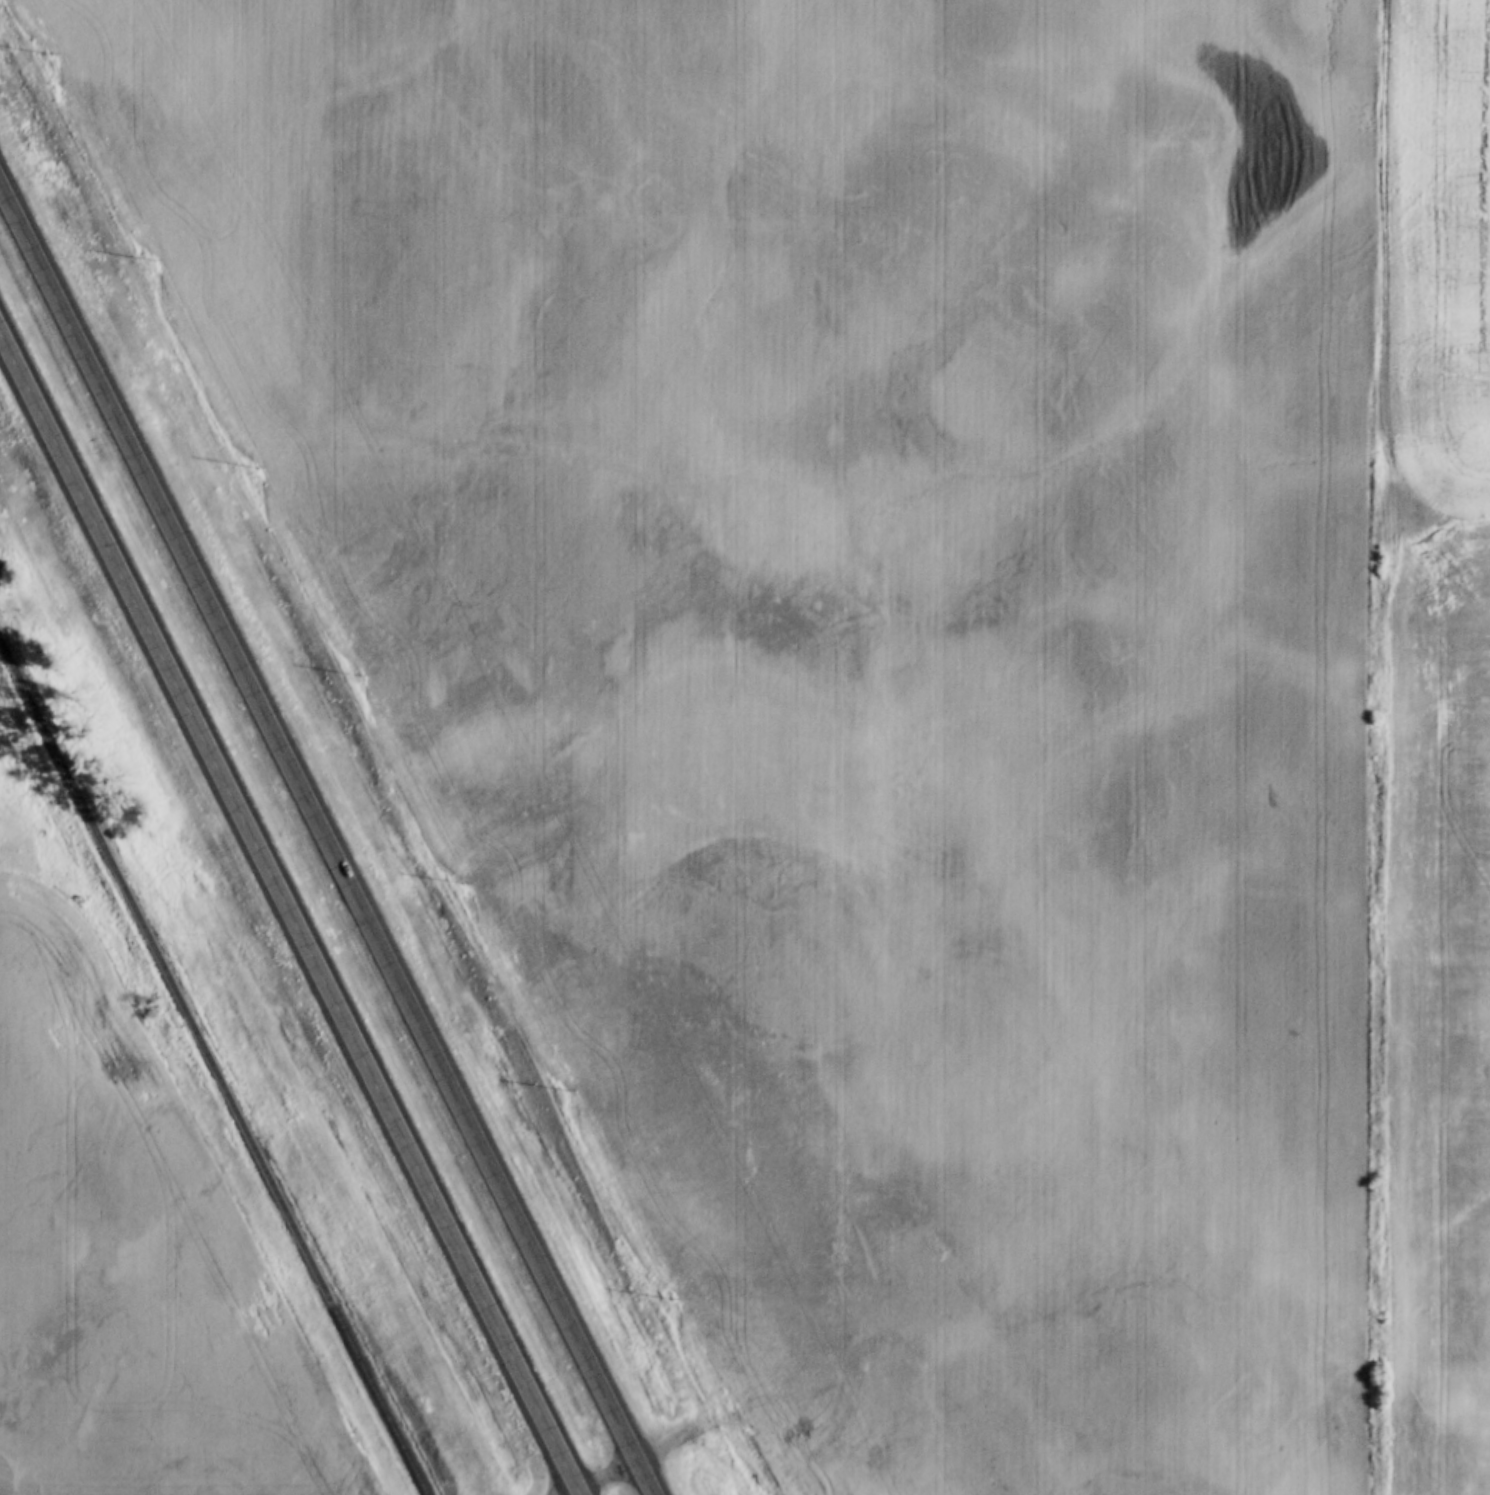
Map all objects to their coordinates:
road: (1375, 261)
road: (329, 834)
road: (291, 907)
railway: (213, 1067)
road: (610, 1474)
road: (577, 1493)

